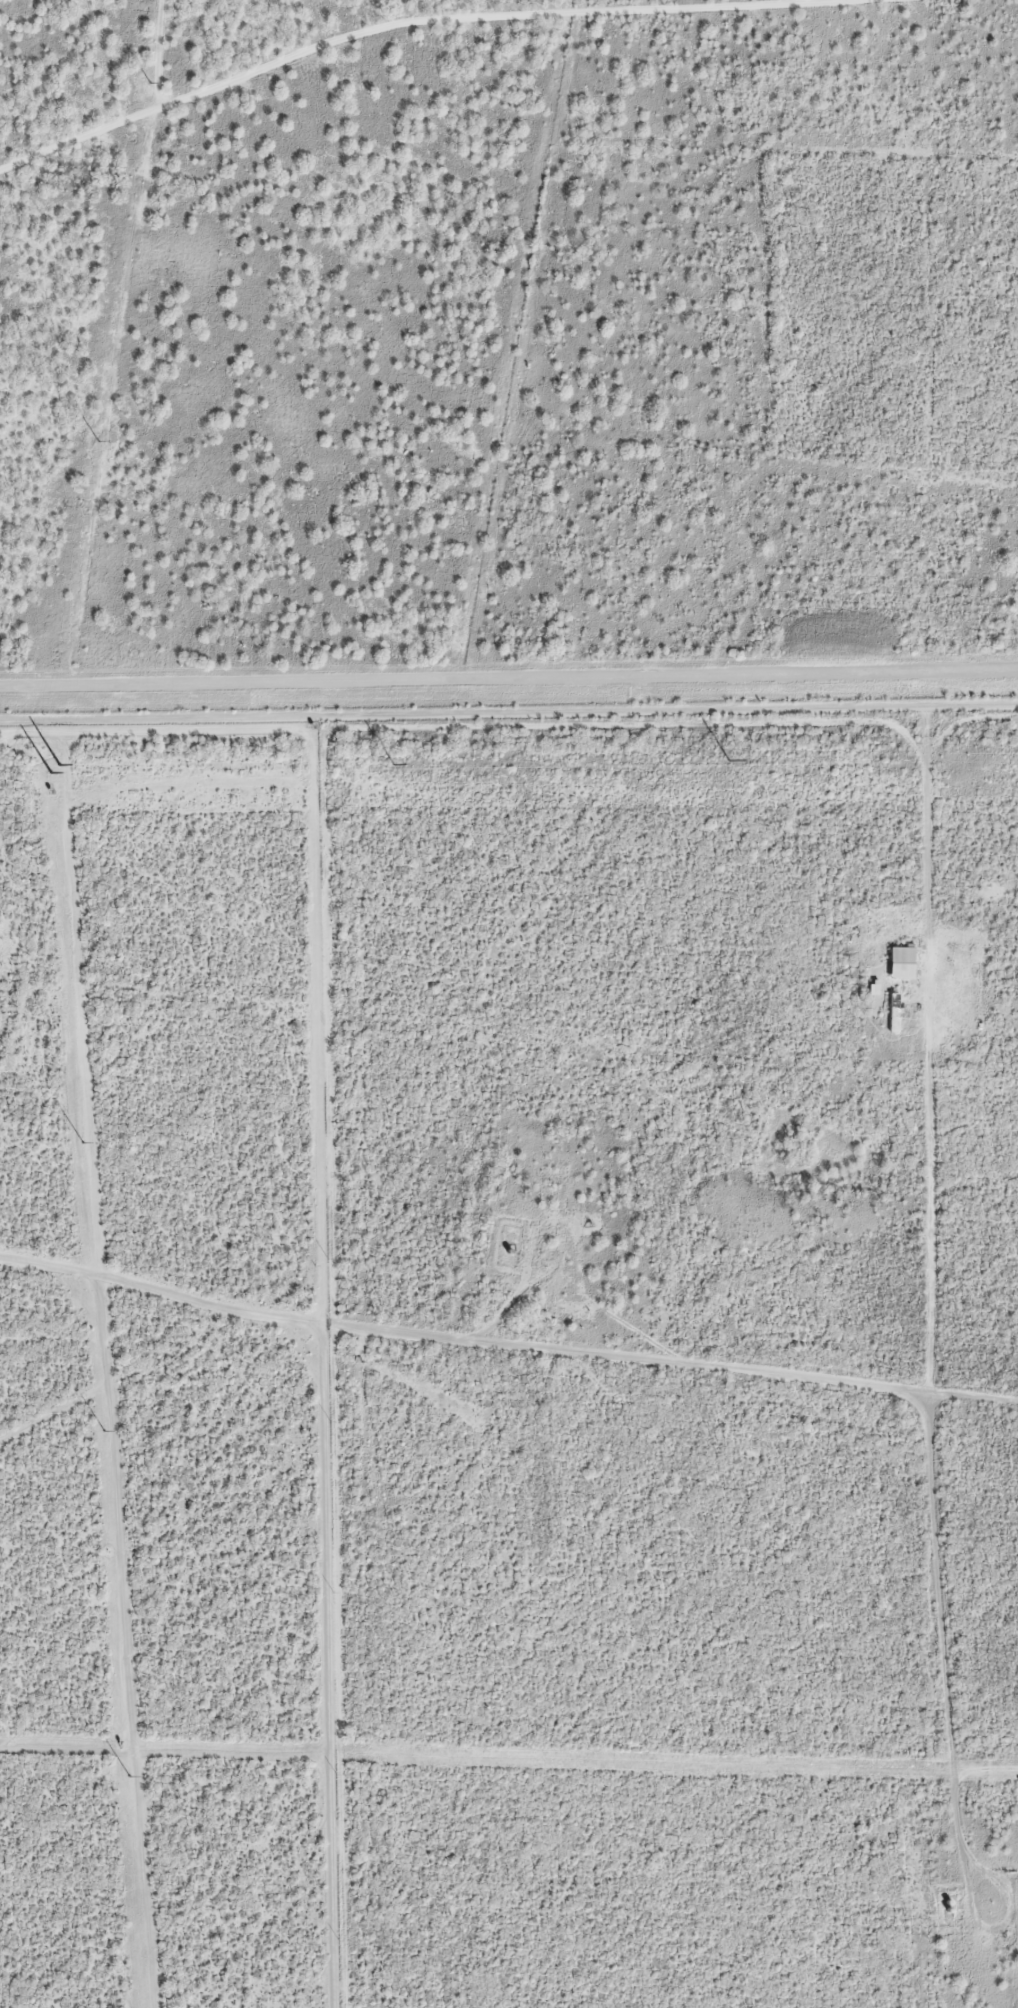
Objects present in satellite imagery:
power tower: (147, 83)
power tower: (97, 441)
power tower: (727, 760)
power tower: (391, 763)
power tower: (58, 764)
power tower: (49, 772)
building: (904, 957)
building: (896, 1006)
power tower: (79, 1141)
road: (504, 1369)
power tower: (102, 1430)
power tower: (128, 1776)

